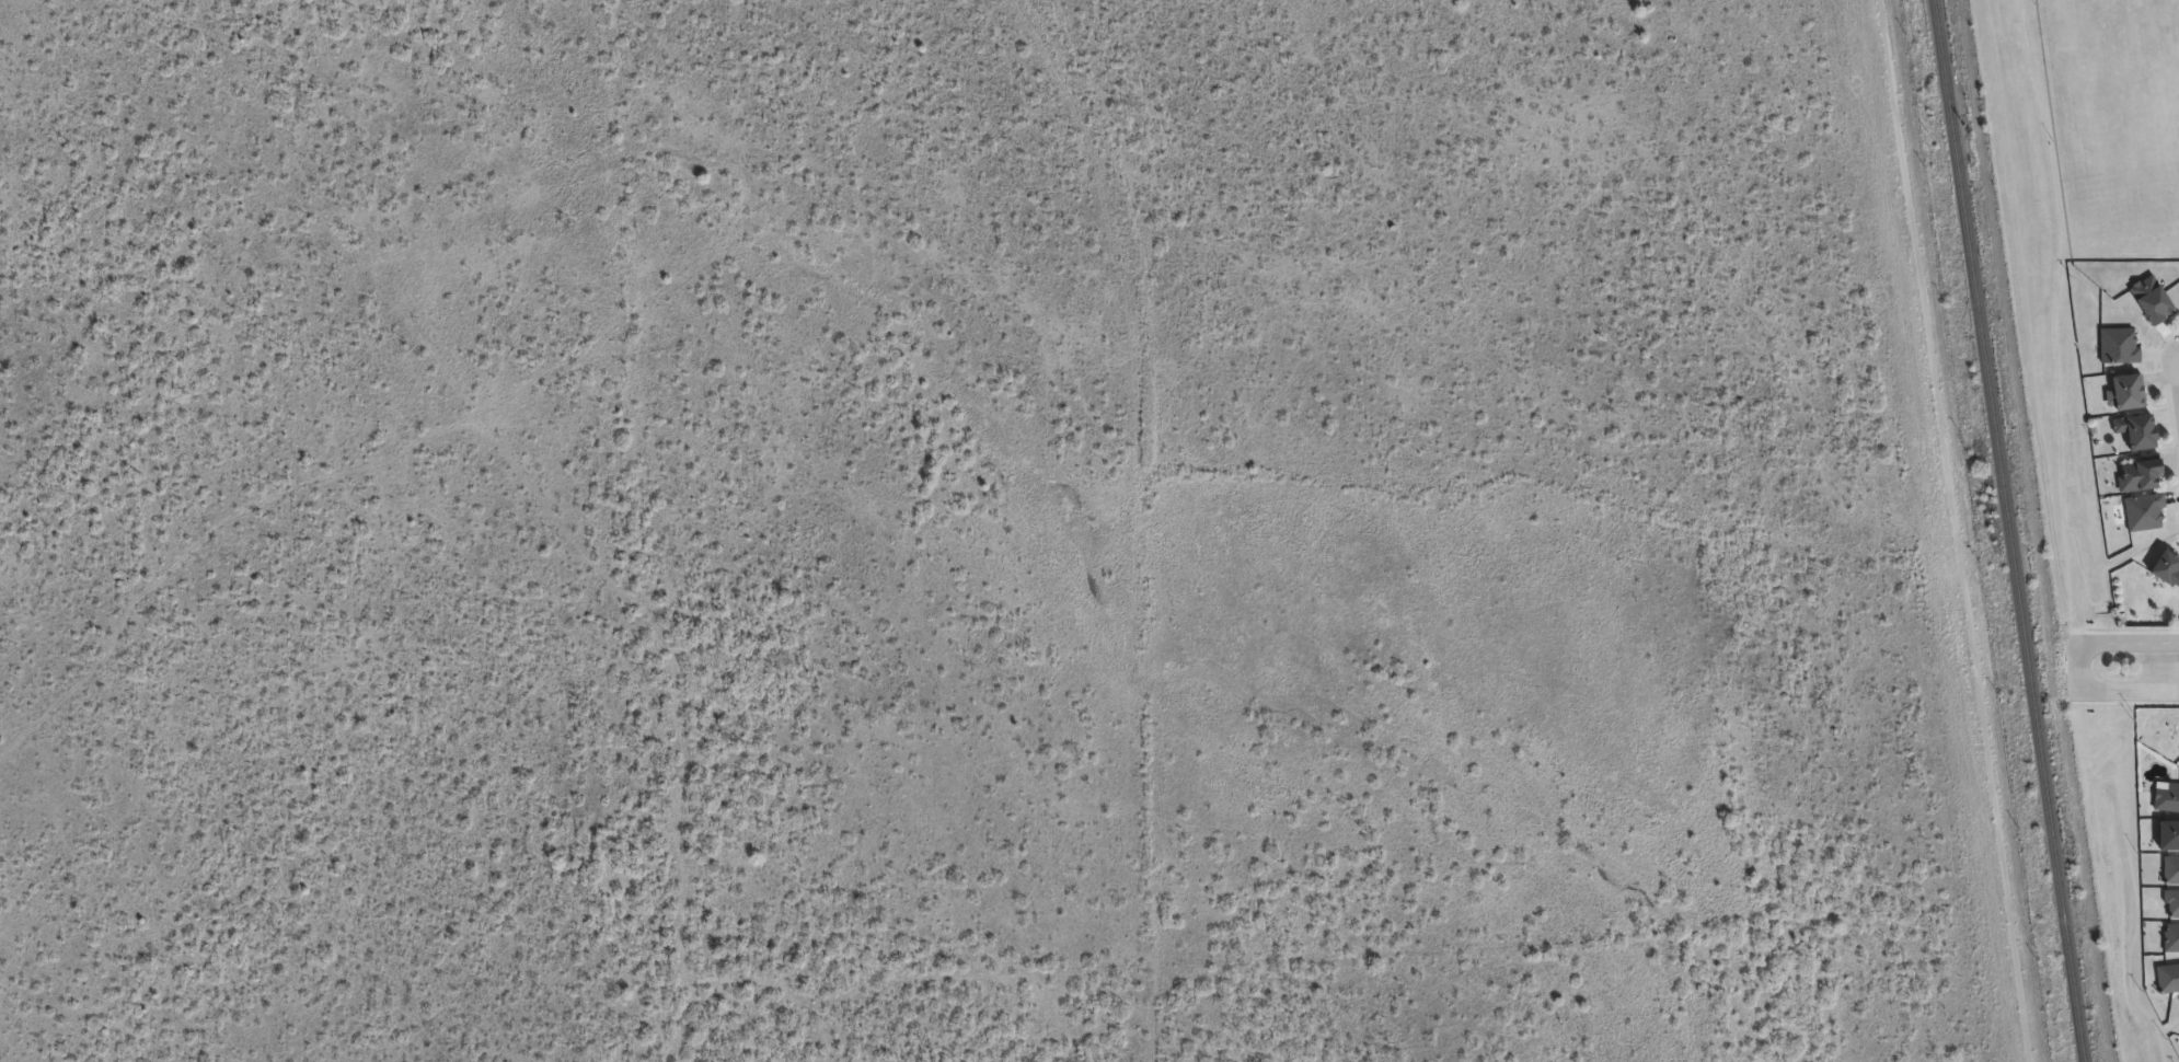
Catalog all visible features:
building: (2149, 298)
road: (2051, 311)
building: (2118, 345)
road: (2176, 356)
road: (2176, 373)
building: (2125, 391)
building: (2135, 430)
building: (2137, 474)
building: (2144, 511)
road: (1951, 530)
railway: (2016, 530)
building: (2165, 568)
road: (2101, 589)
road: (2123, 627)
road: (2130, 636)
road: (2079, 665)
road: (2129, 692)
road: (2123, 705)
building: (2167, 798)
road: (2120, 812)
building: (2167, 834)
building: (2171, 870)
building: (2171, 903)
building: (2171, 939)
building: (2167, 979)
road: (2157, 1034)

